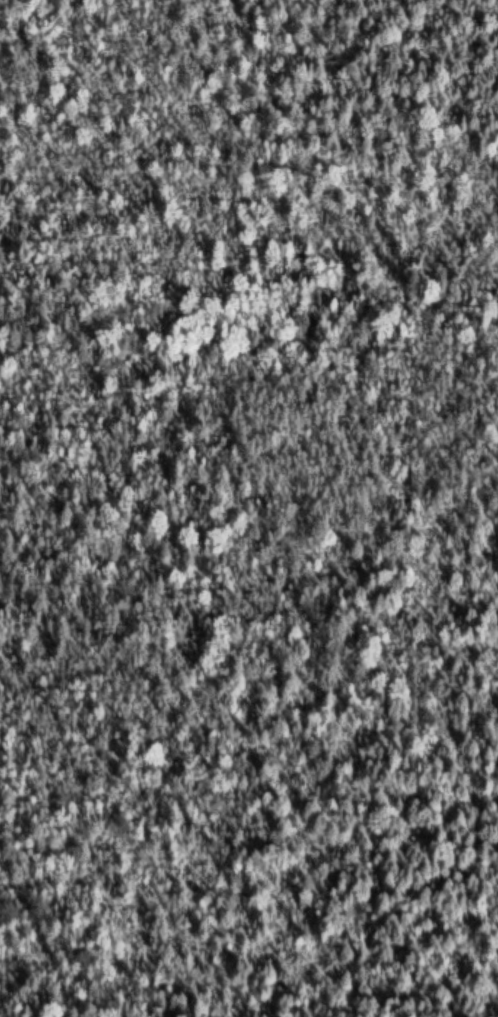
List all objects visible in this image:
road: (33, 863)

